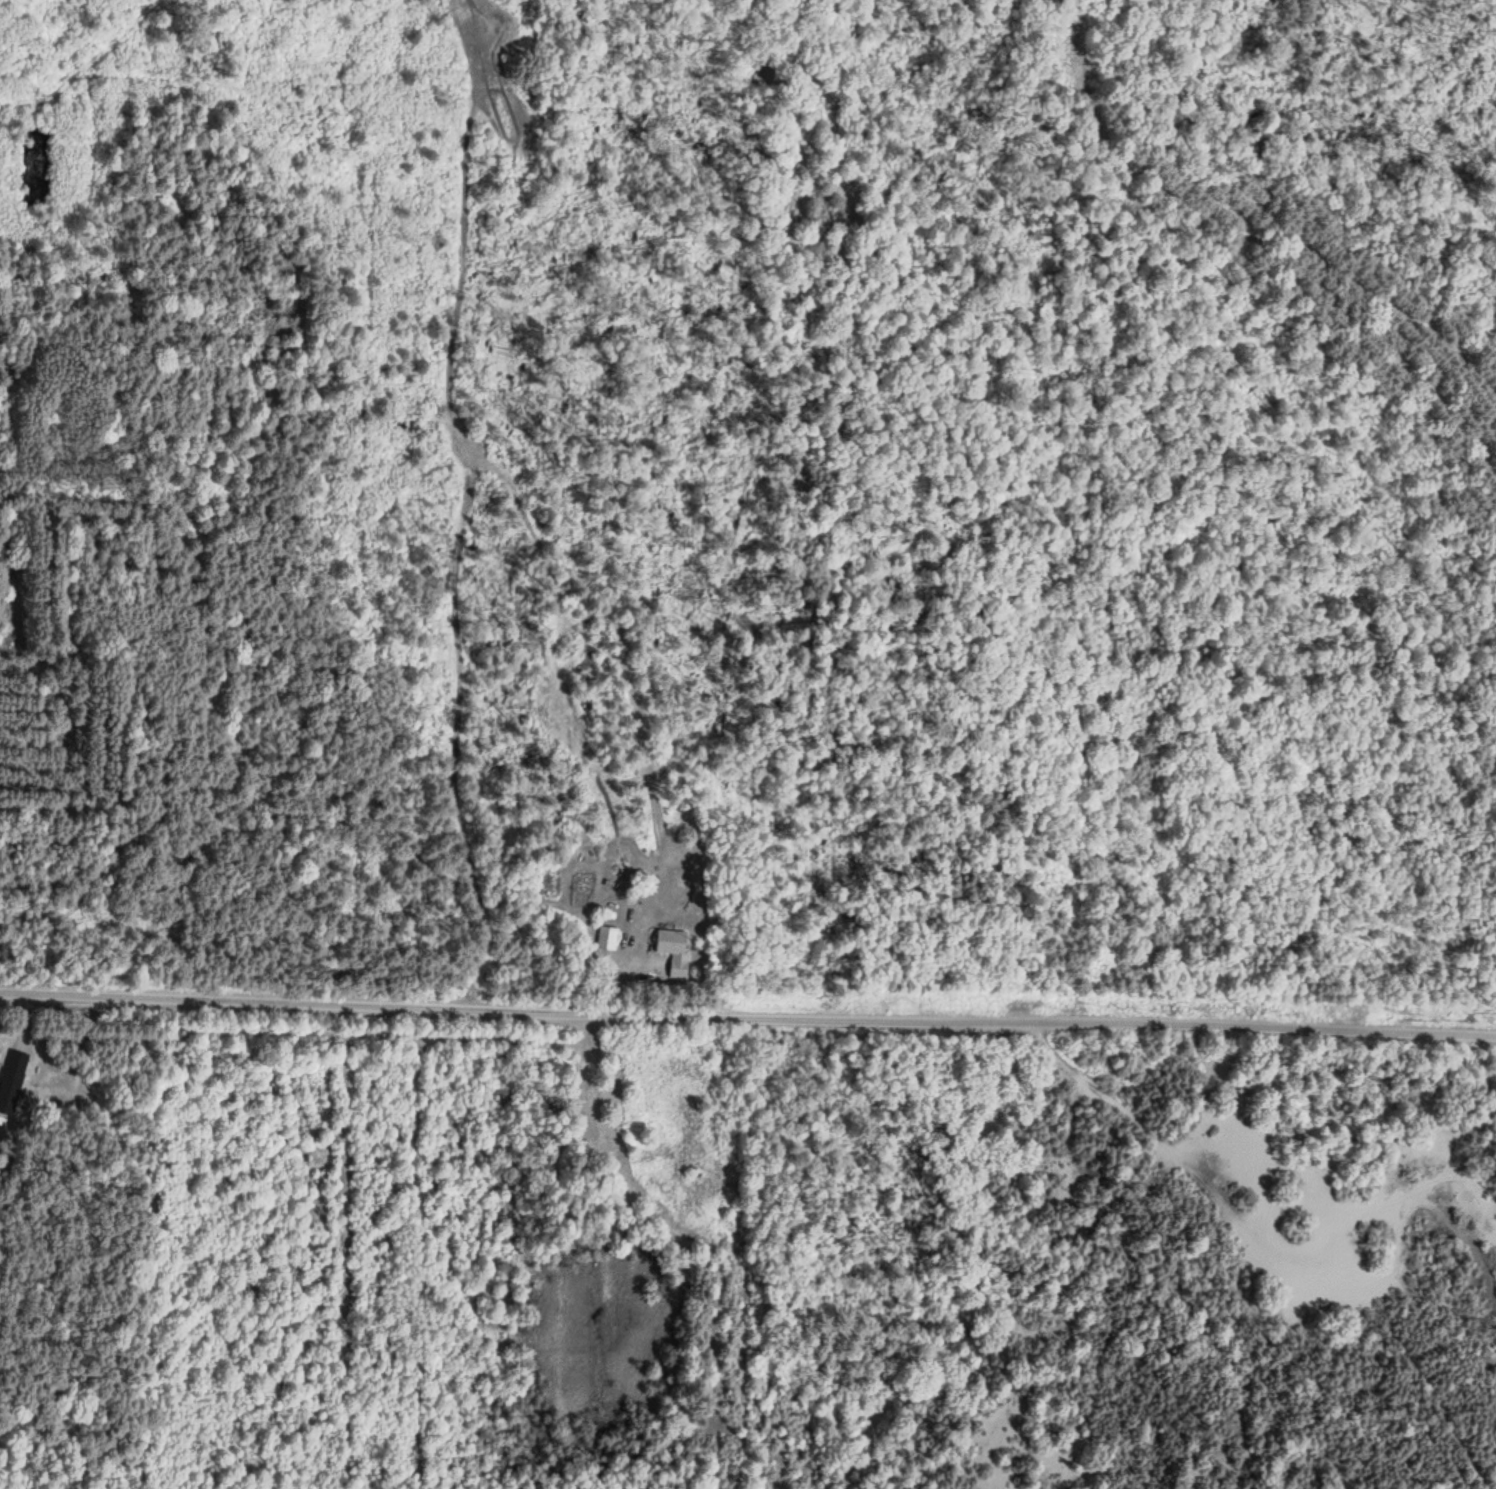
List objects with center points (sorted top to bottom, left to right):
building: (605, 937)
building: (672, 949)
road: (748, 1003)
building: (15, 1090)

